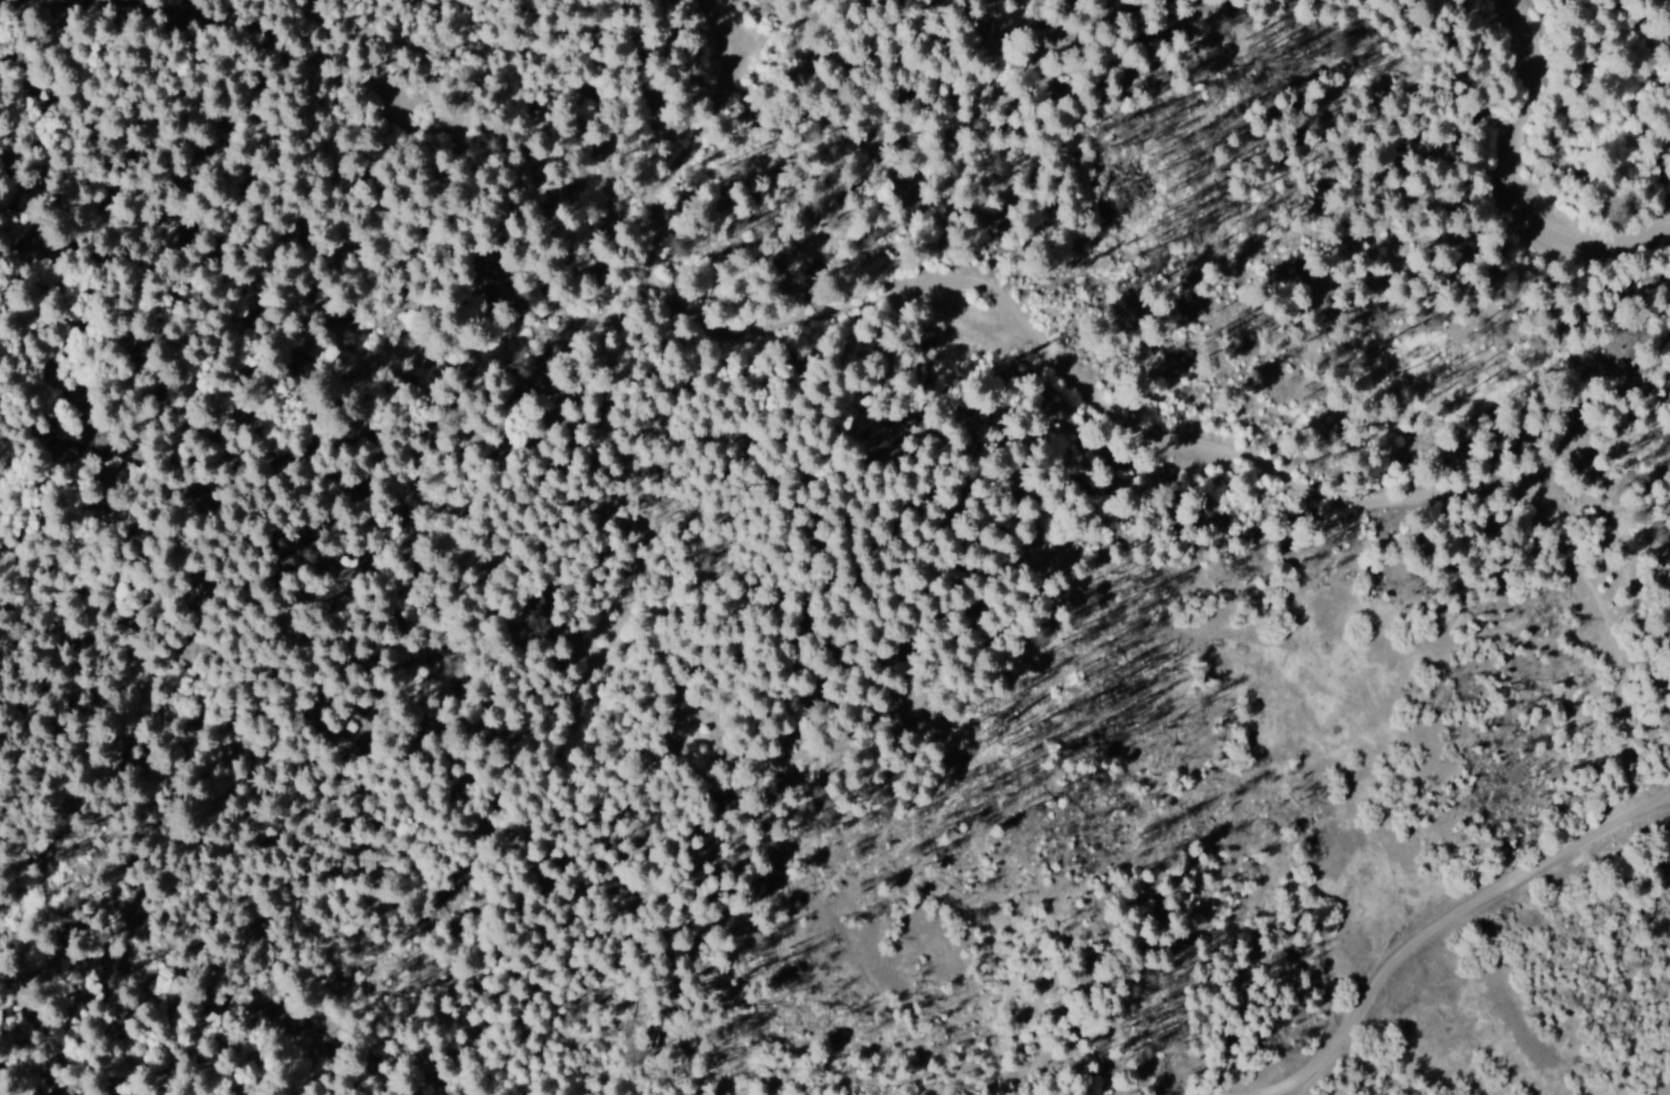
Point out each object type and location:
road: (1556, 157)
road: (1471, 941)

